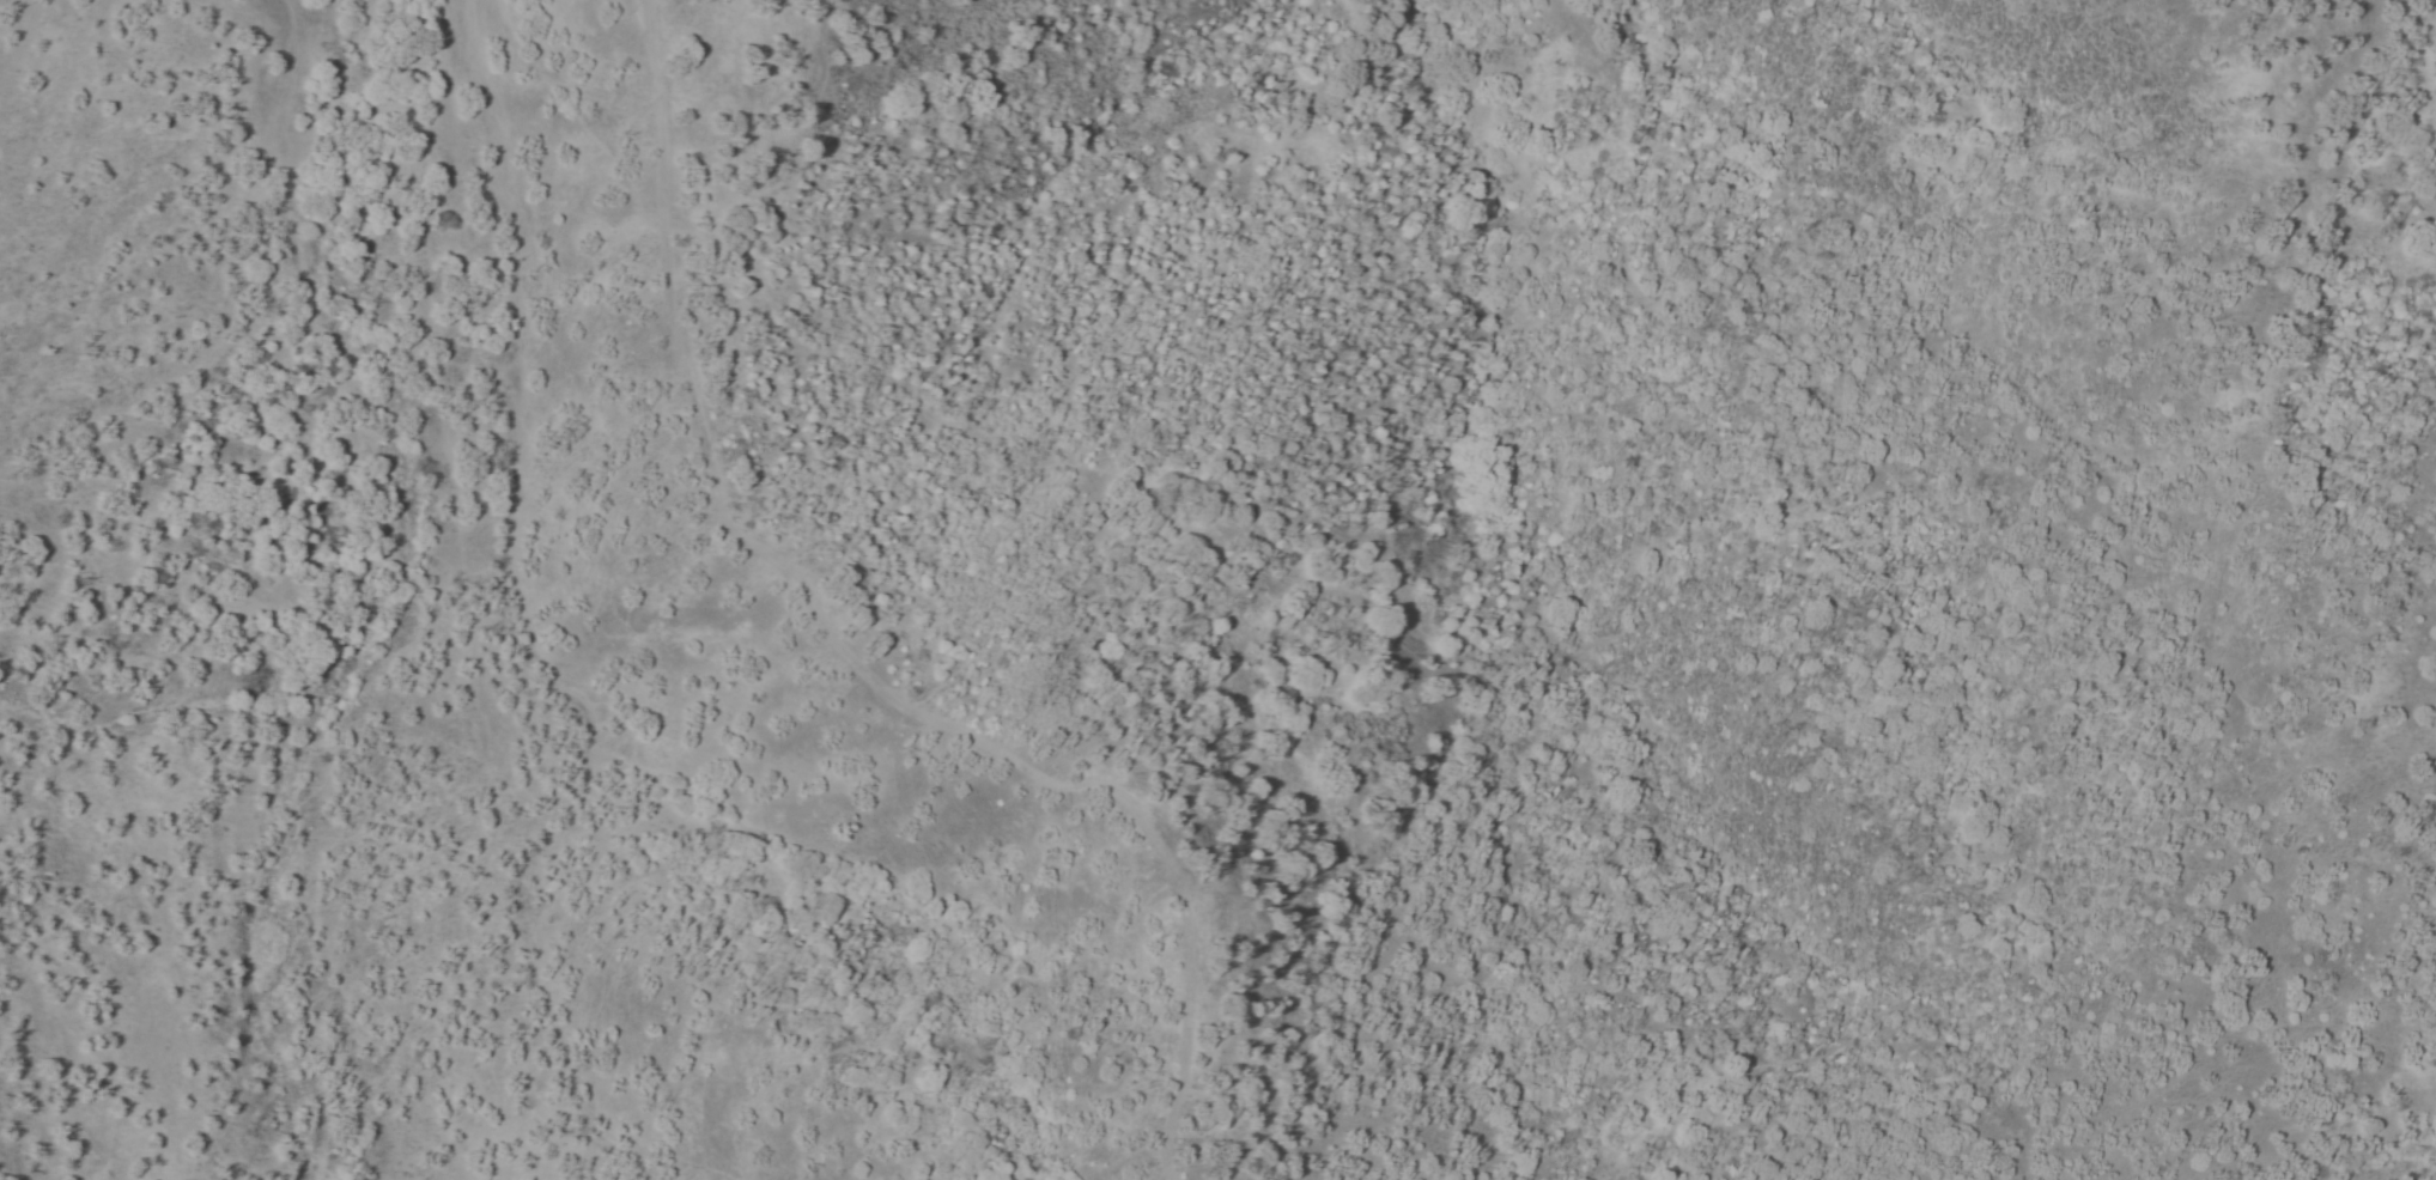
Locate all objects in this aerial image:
road: (852, 664)

